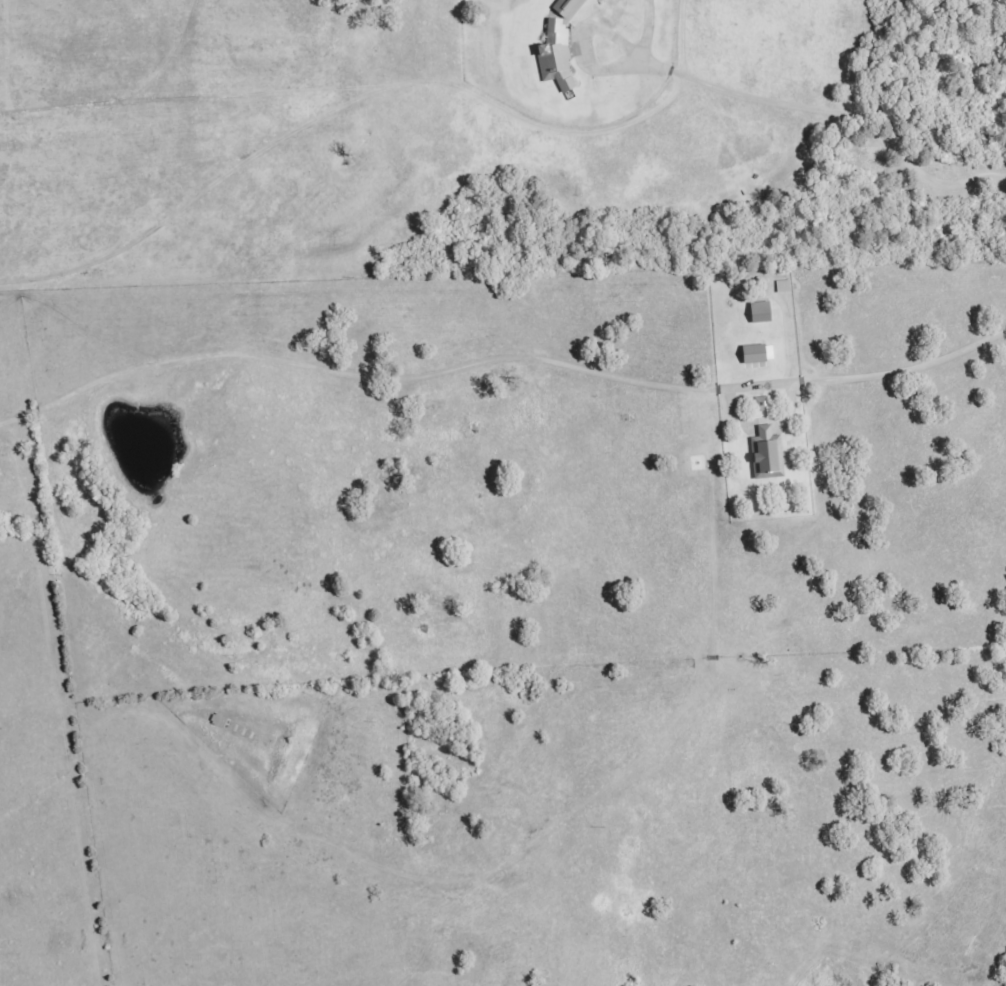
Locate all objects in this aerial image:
building: (560, 47)
road: (827, 114)
building: (763, 313)
road: (875, 376)
building: (769, 455)

